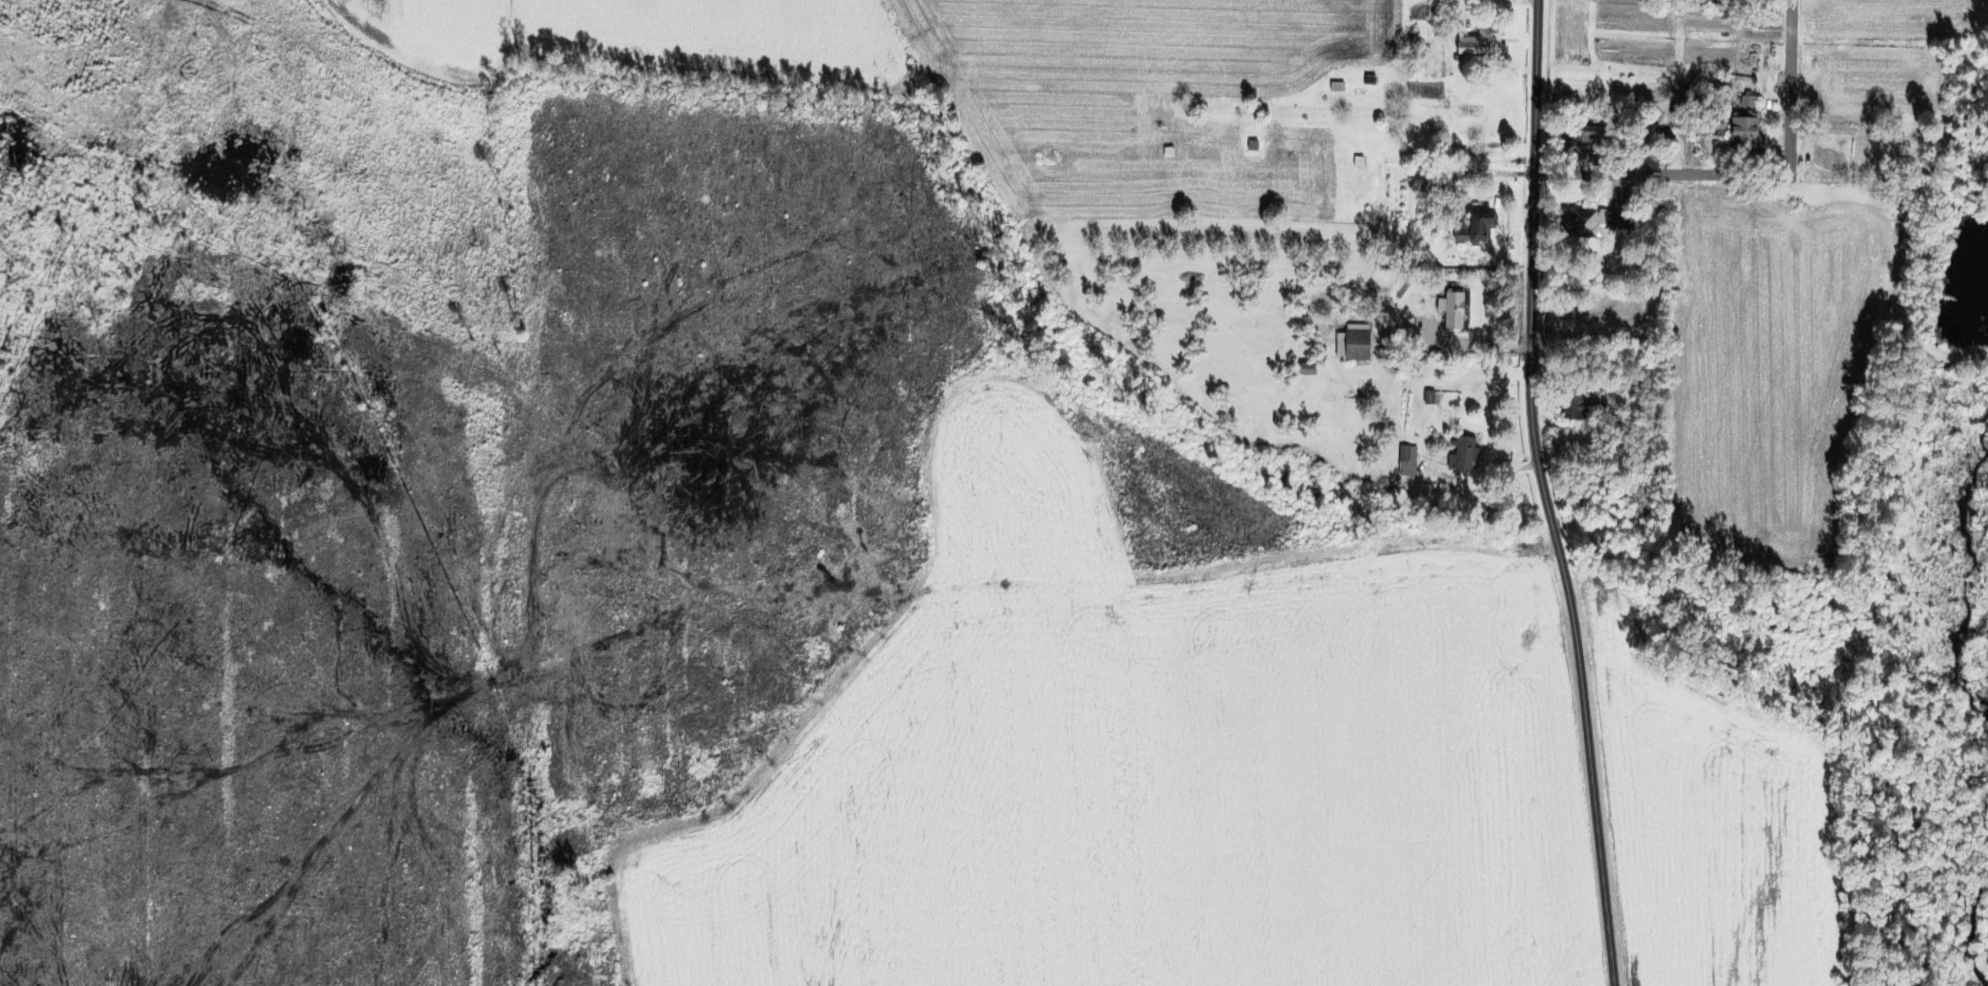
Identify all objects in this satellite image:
road: (1485, 0)
building: (1435, 14)
crop: (1894, 19)
crop: (631, 36)
building: (1415, 40)
building: (1484, 46)
building: (1370, 77)
building: (1720, 82)
building: (1338, 84)
road: (1536, 86)
road: (1789, 86)
crop: (1143, 98)
building: (1721, 124)
building: (1749, 125)
building: (1665, 138)
building: (1591, 139)
building: (1253, 142)
building: (1170, 148)
building: (1360, 158)
road: (1493, 168)
road: (1661, 173)
building: (1429, 184)
building: (1462, 184)
road: (1618, 191)
building: (1593, 216)
building: (1478, 223)
building: (1577, 292)
building: (1454, 305)
road: (1580, 324)
building: (1356, 339)
road: (1453, 344)
crop: (1779, 357)
road: (1561, 377)
building: (1431, 395)
building: (1584, 404)
road: (1421, 426)
building: (1465, 451)
building: (1409, 458)
building: (1655, 481)
road: (1566, 579)
crop: (1155, 766)
crop: (1715, 824)

